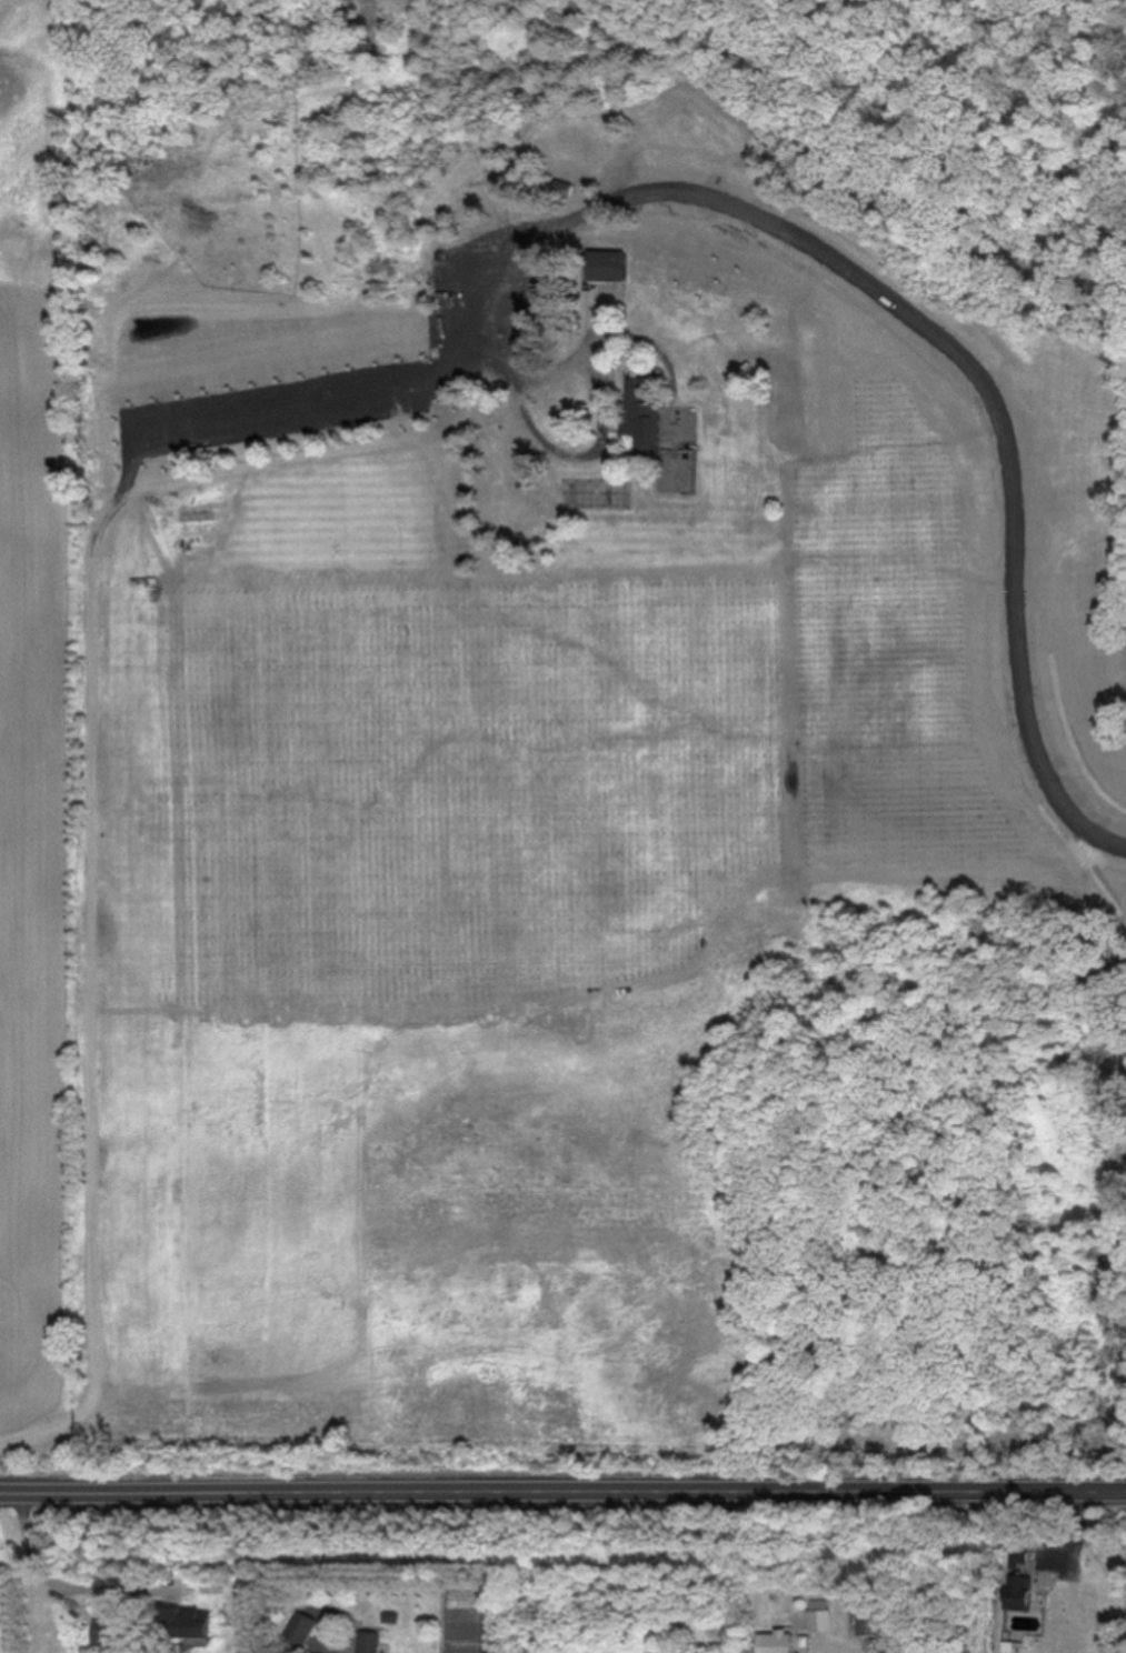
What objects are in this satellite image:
building: (609, 289)
building: (840, 390)
building: (645, 417)
road: (558, 432)
road: (91, 732)
road: (562, 1492)
building: (1018, 1556)
road: (39, 1569)
building: (1019, 1591)
building: (821, 1613)
building: (179, 1621)
building: (873, 1621)
building: (300, 1625)
building: (114, 1630)
building: (370, 1641)
building: (777, 1642)
road: (843, 1649)

